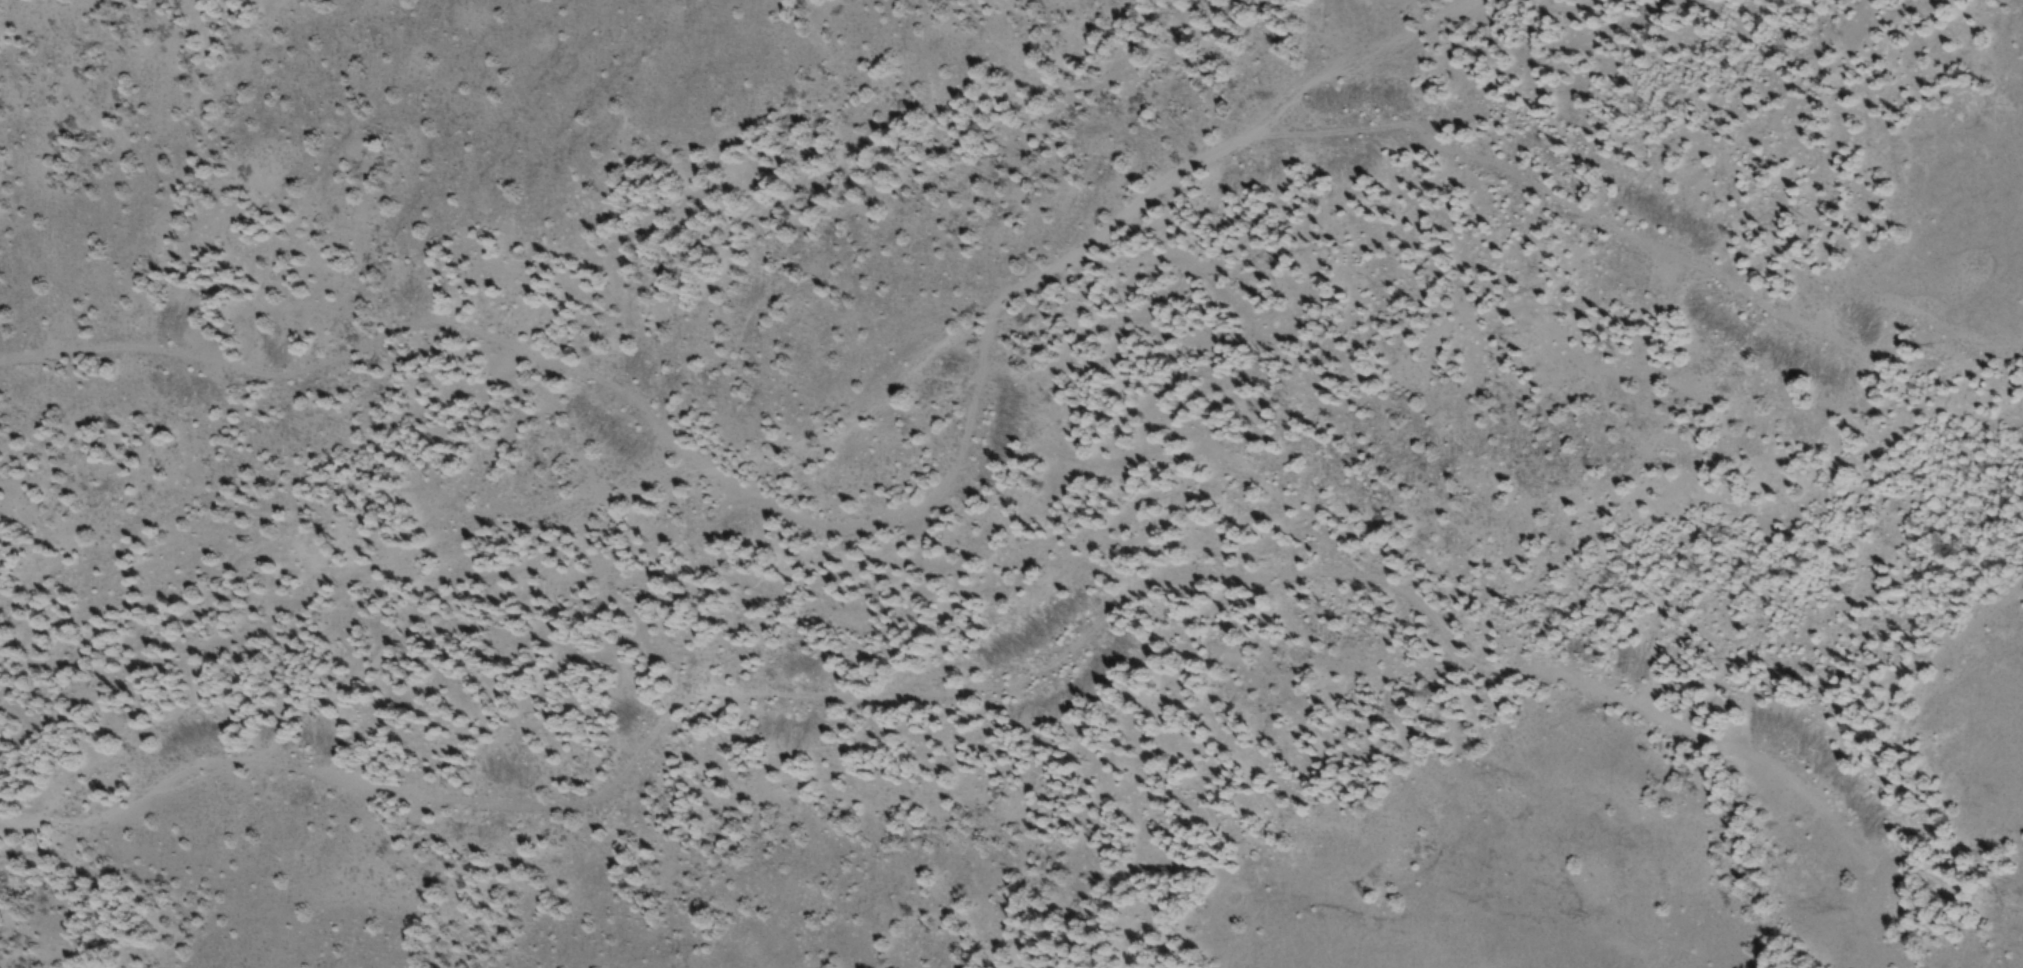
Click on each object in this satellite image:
road: (846, 632)

